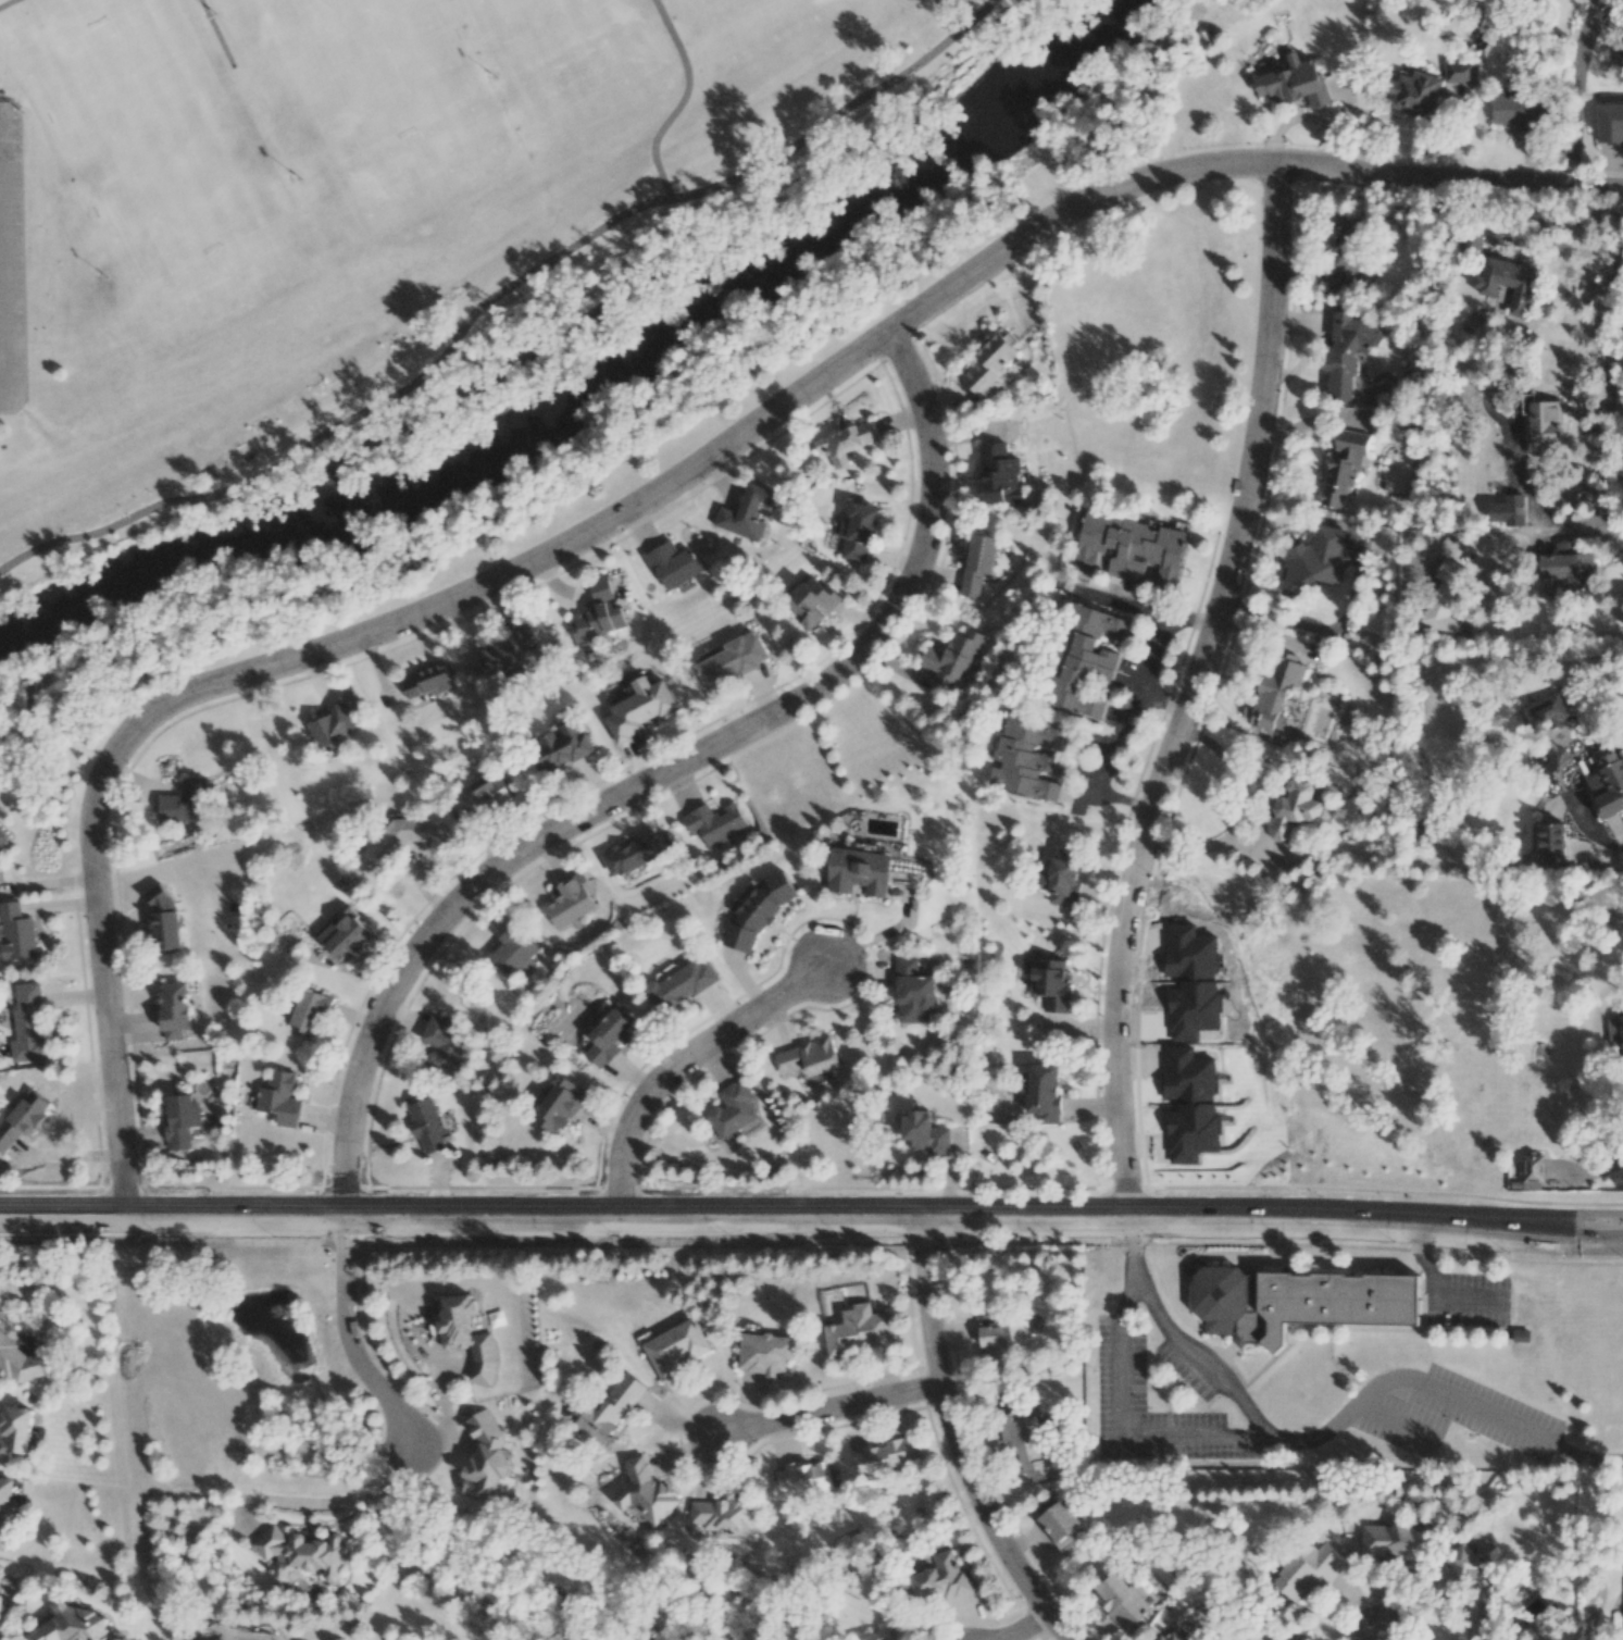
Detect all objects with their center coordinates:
park: (691, 1)
road: (7, 3)
road: (216, 32)
park: (554, 35)
building: (1618, 61)
building: (1459, 71)
park: (350, 82)
building: (1294, 83)
road: (1565, 88)
building: (1414, 94)
road: (678, 99)
building: (1514, 110)
building: (1610, 123)
park: (155, 135)
park: (408, 229)
building: (1471, 241)
building: (1343, 251)
parking lot: (11, 262)
building: (1508, 283)
road: (495, 295)
building: (1346, 352)
road: (0, 357)
building: (989, 364)
river: (596, 388)
road: (1608, 394)
building: (1543, 420)
building: (846, 443)
building: (1343, 468)
building: (998, 475)
road: (648, 492)
building: (1508, 508)
building: (746, 513)
building: (858, 532)
road: (1531, 532)
building: (1131, 547)
building: (1314, 562)
building: (672, 563)
building: (978, 563)
building: (1568, 564)
building: (812, 601)
building: (1444, 602)
building: (598, 614)
building: (504, 654)
building: (952, 657)
building: (1086, 660)
building: (731, 662)
building: (427, 681)
road: (1188, 689)
building: (1274, 692)
road: (1162, 698)
building: (638, 708)
road: (1133, 708)
building: (1547, 712)
building: (337, 721)
building: (560, 747)
building: (1027, 757)
road: (659, 774)
building: (1608, 786)
building: (482, 799)
building: (184, 803)
building: (1294, 809)
road: (1243, 815)
building: (713, 824)
building: (2, 836)
building: (389, 841)
building: (1550, 841)
building: (638, 852)
building: (858, 870)
road: (45, 871)
building: (1061, 878)
building: (570, 900)
building: (757, 910)
building: (164, 918)
building: (15, 932)
building: (345, 935)
building: (513, 951)
building: (1051, 984)
building: (681, 985)
building: (913, 992)
building: (174, 1009)
building: (311, 1010)
building: (27, 1024)
building: (1615, 1030)
building: (609, 1038)
building: (442, 1045)
building: (808, 1057)
road: (684, 1063)
building: (1044, 1092)
building: (279, 1098)
building: (558, 1104)
building: (732, 1109)
building: (22, 1119)
building: (182, 1121)
building: (426, 1125)
building: (925, 1134)
building: (1531, 1172)
road: (1593, 1173)
road: (811, 1214)
road: (1422, 1262)
building: (1302, 1300)
road: (1470, 1302)
building: (0, 1320)
building: (858, 1331)
road: (347, 1333)
building: (467, 1337)
building: (1002, 1341)
building: (675, 1349)
building: (763, 1355)
building: (17, 1362)
parking lot: (1119, 1365)
parking lot: (1187, 1375)
building: (612, 1407)
road: (825, 1411)
road: (1119, 1428)
road: (1324, 1429)
building: (14, 1430)
road: (953, 1440)
building: (1026, 1444)
building: (887, 1455)
building: (485, 1458)
building: (806, 1478)
road: (316, 1492)
building: (646, 1492)
building: (5, 1507)
building: (724, 1516)
building: (1057, 1520)
building: (1396, 1543)
building: (299, 1554)
building: (1312, 1569)
building: (939, 1578)
building: (1472, 1588)
building: (1121, 1601)
building: (72, 1625)
road: (1024, 1627)
building: (3, 1629)
building: (878, 1635)
building: (1172, 1637)
road: (1375, 1639)

